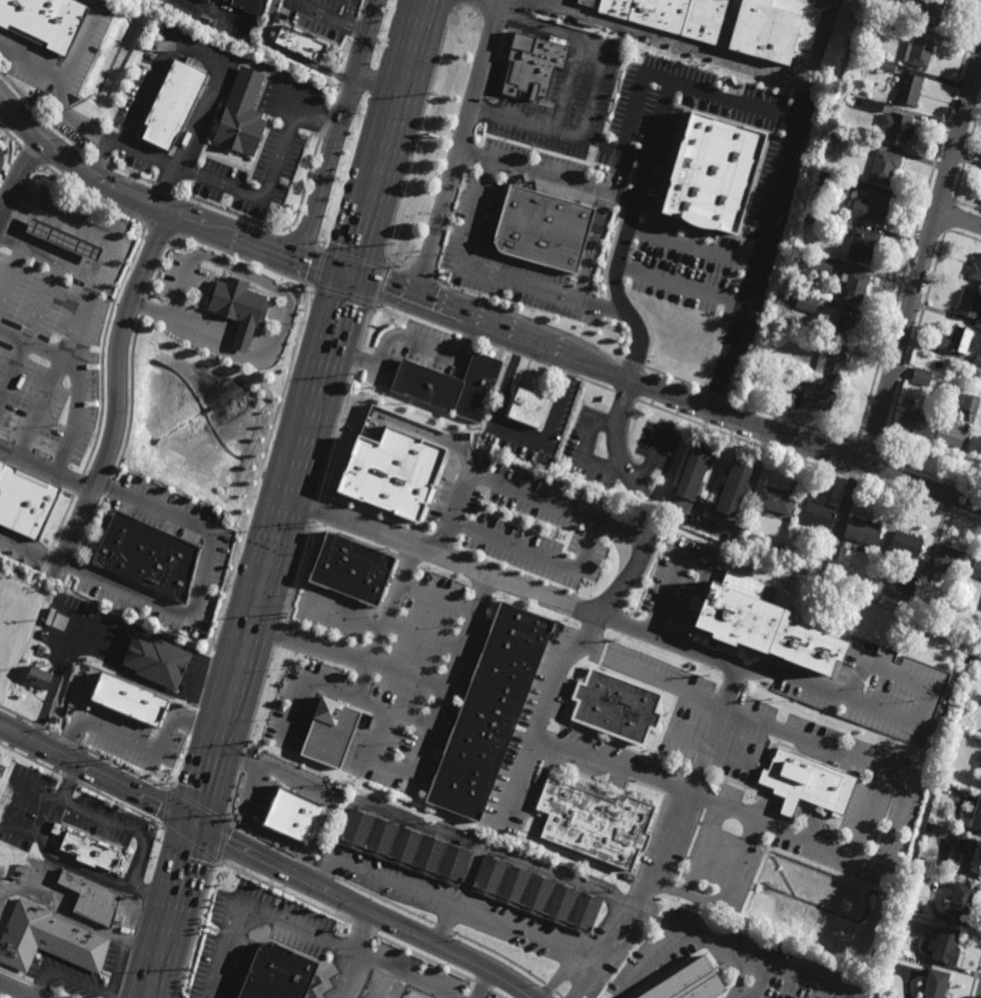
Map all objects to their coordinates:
road: (502, 0)
building: (207, 1)
building: (251, 6)
building: (931, 12)
road: (327, 16)
building: (45, 22)
building: (726, 23)
building: (219, 26)
building: (894, 30)
road: (85, 37)
building: (300, 44)
building: (920, 52)
road: (31, 64)
building: (536, 66)
road: (162, 67)
building: (887, 68)
road: (377, 82)
road: (214, 90)
building: (911, 91)
road: (591, 93)
power tower: (432, 98)
building: (172, 104)
building: (242, 117)
road: (337, 127)
building: (899, 130)
road: (460, 149)
road: (101, 155)
road: (624, 155)
building: (885, 167)
road: (101, 173)
building: (712, 173)
road: (16, 174)
building: (827, 177)
road: (208, 181)
road: (771, 203)
building: (813, 203)
building: (873, 205)
building: (811, 216)
road: (959, 220)
building: (543, 228)
road: (629, 234)
building: (64, 238)
gas station: (64, 238)
building: (863, 244)
road: (692, 247)
road: (284, 249)
power tower: (389, 249)
road: (48, 256)
road: (923, 260)
building: (821, 263)
building: (975, 268)
road: (11, 271)
road: (494, 273)
traffic signals: (350, 275)
road: (657, 275)
building: (853, 286)
building: (809, 287)
road: (87, 297)
building: (807, 302)
building: (969, 303)
building: (239, 307)
road: (178, 317)
building: (978, 323)
building: (845, 326)
road: (31, 333)
building: (960, 339)
road: (404, 343)
road: (636, 344)
building: (765, 359)
building: (977, 361)
building: (830, 365)
power tower: (354, 373)
building: (921, 377)
road: (509, 378)
road: (76, 385)
building: (452, 385)
road: (112, 386)
road: (665, 390)
building: (974, 392)
road: (561, 397)
building: (818, 397)
building: (971, 402)
building: (531, 408)
road: (311, 412)
building: (914, 423)
road: (522, 428)
building: (949, 435)
building: (977, 445)
road: (651, 455)
building: (693, 470)
road: (44, 473)
building: (392, 476)
building: (734, 485)
road: (516, 495)
building: (774, 501)
building: (24, 502)
building: (817, 516)
power tower: (312, 524)
building: (863, 531)
building: (906, 544)
building: (823, 548)
building: (781, 549)
building: (839, 553)
road: (529, 556)
building: (149, 557)
building: (948, 559)
road: (441, 562)
building: (879, 566)
building: (976, 567)
building: (353, 568)
building: (925, 577)
building: (923, 591)
road: (668, 594)
road: (610, 602)
road: (391, 607)
road: (194, 613)
power tower: (283, 619)
building: (773, 622)
building: (41, 648)
road: (350, 658)
building: (158, 661)
road: (59, 671)
building: (38, 678)
road: (730, 684)
road: (357, 696)
road: (832, 696)
building: (128, 700)
building: (980, 701)
building: (79, 706)
building: (617, 707)
building: (491, 713)
building: (960, 724)
road: (1, 729)
building: (330, 732)
power tower: (250, 740)
road: (687, 741)
road: (425, 746)
road: (142, 749)
road: (98, 776)
building: (807, 783)
building: (293, 815)
road: (247, 818)
building: (977, 818)
power tower: (228, 819)
building: (595, 823)
traffic signals: (197, 826)
building: (930, 828)
road: (130, 829)
road: (893, 829)
road: (450, 838)
building: (404, 847)
road: (701, 850)
building: (88, 851)
building: (972, 855)
road: (661, 859)
road: (331, 895)
building: (536, 895)
building: (92, 898)
building: (960, 898)
road: (460, 899)
road: (727, 899)
road: (61, 907)
road: (249, 908)
road: (173, 912)
road: (461, 914)
road: (131, 925)
road: (687, 937)
building: (49, 939)
building: (947, 942)
road: (349, 955)
road: (119, 967)
power tower: (188, 970)
building: (277, 972)
road: (403, 975)
road: (557, 977)
road: (499, 978)
road: (69, 979)
building: (687, 982)
road: (479, 984)
building: (934, 984)
road: (18, 990)

